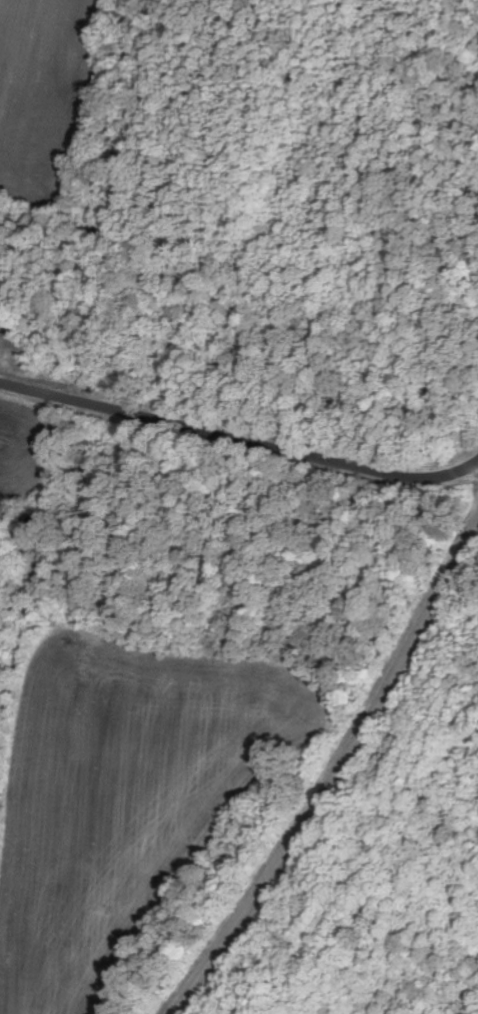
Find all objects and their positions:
road: (239, 441)
road: (335, 777)

